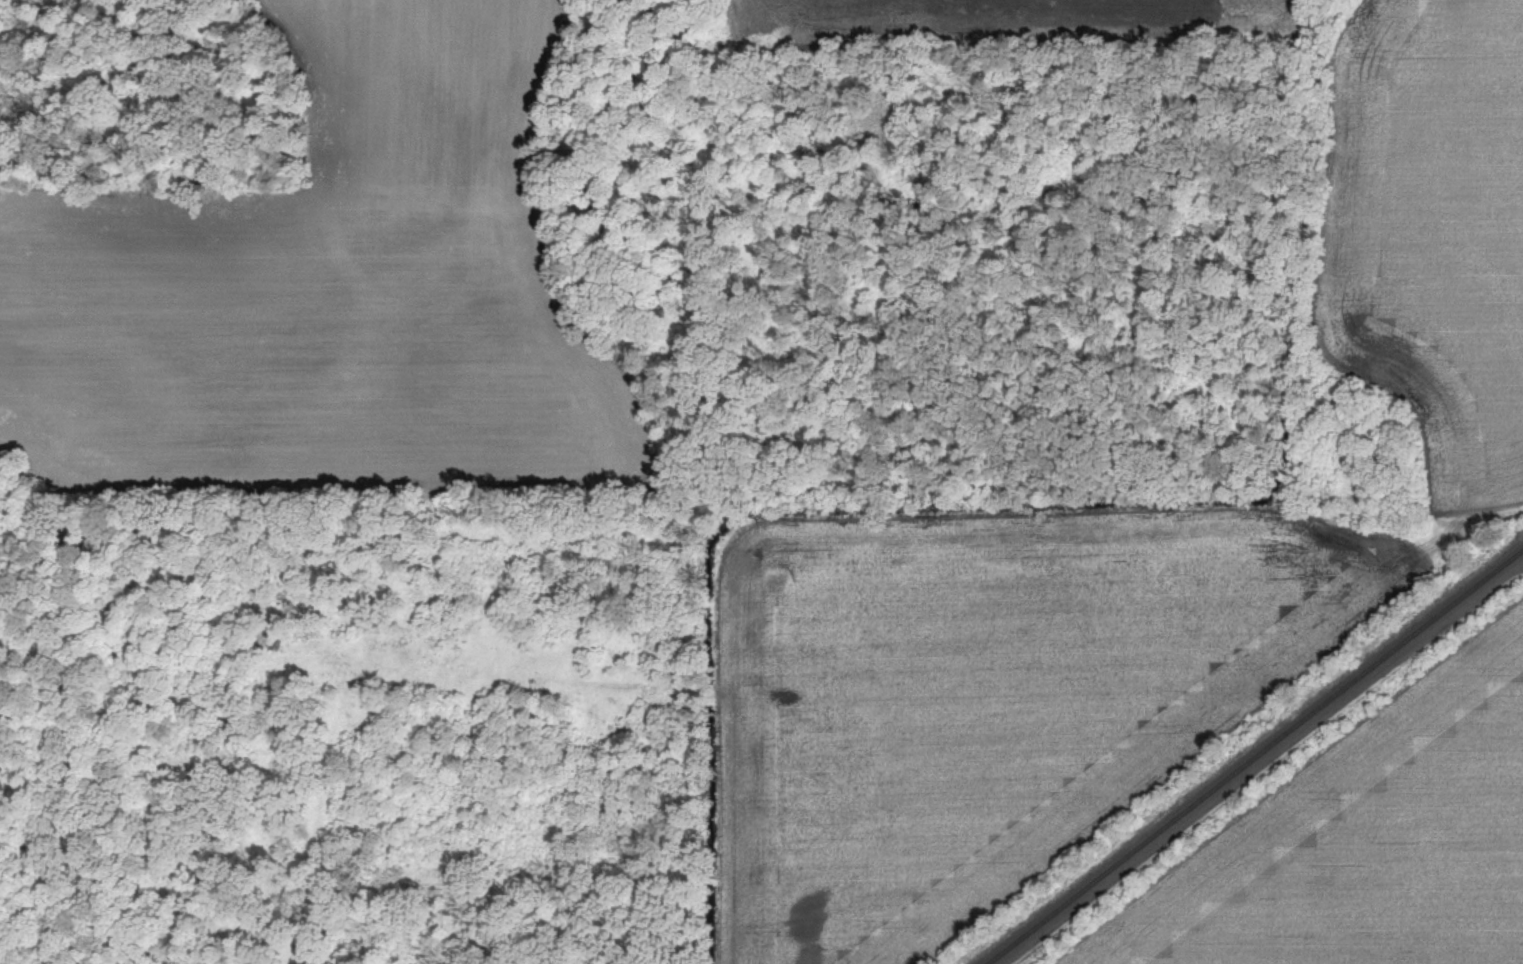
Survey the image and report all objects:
railway: (1261, 767)

